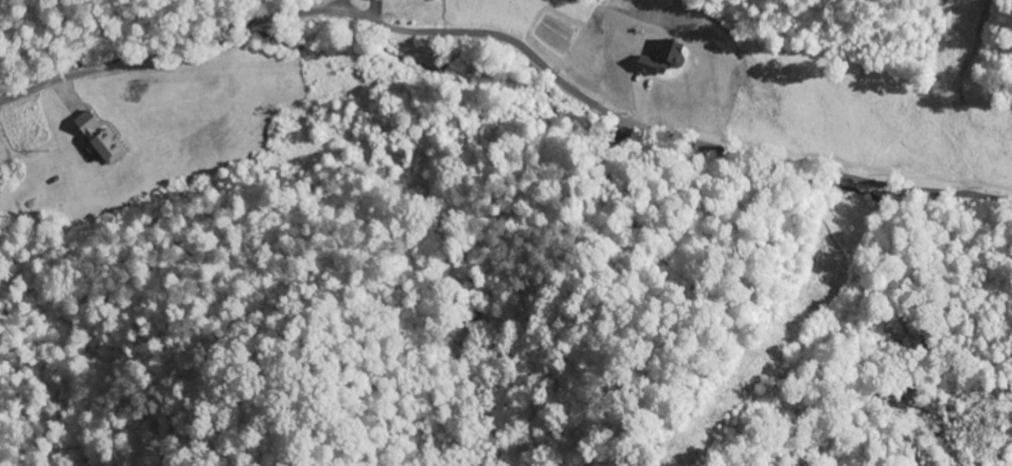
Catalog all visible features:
building: (374, 0)
road: (340, 9)
road: (519, 45)
road: (6, 100)
road: (6, 103)
building: (97, 137)

